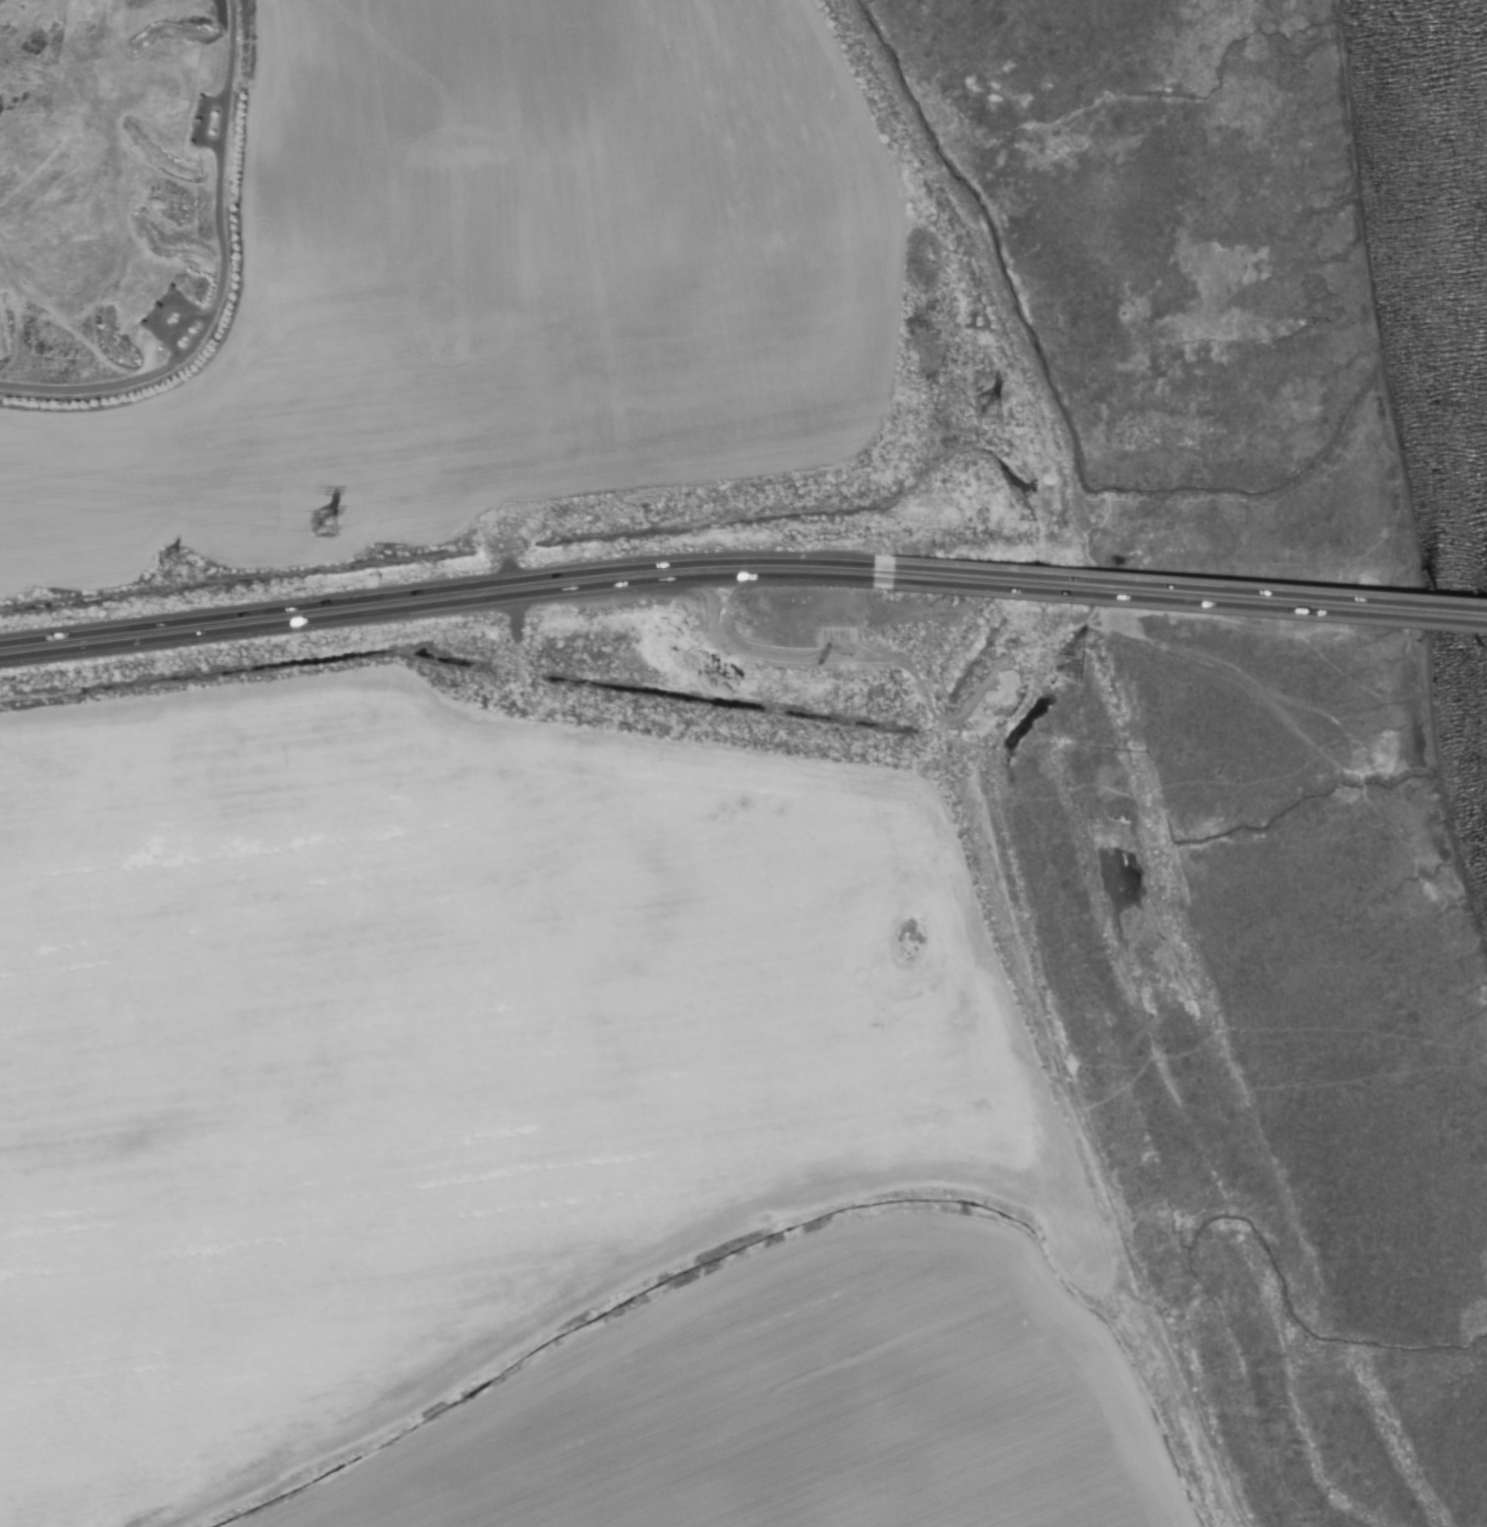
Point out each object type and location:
road: (224, 279)
power tower: (983, 415)
power tower: (323, 529)
power tower: (168, 563)
road: (1180, 587)
road: (436, 595)
road: (1180, 601)
road: (435, 609)
parking lot: (833, 645)
road: (856, 659)
power tower: (1068, 670)

